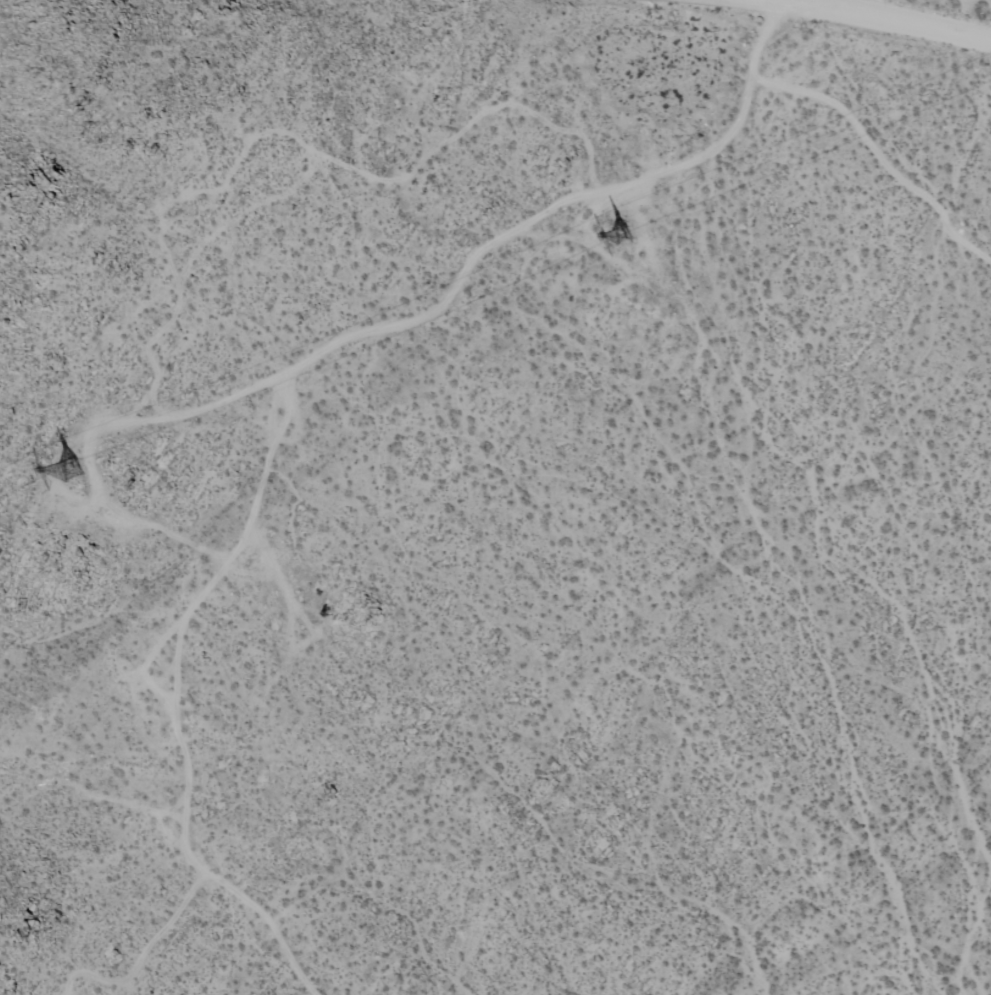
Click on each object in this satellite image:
road: (763, 1)
road: (881, 20)
power tower: (628, 240)
power tower: (73, 474)

